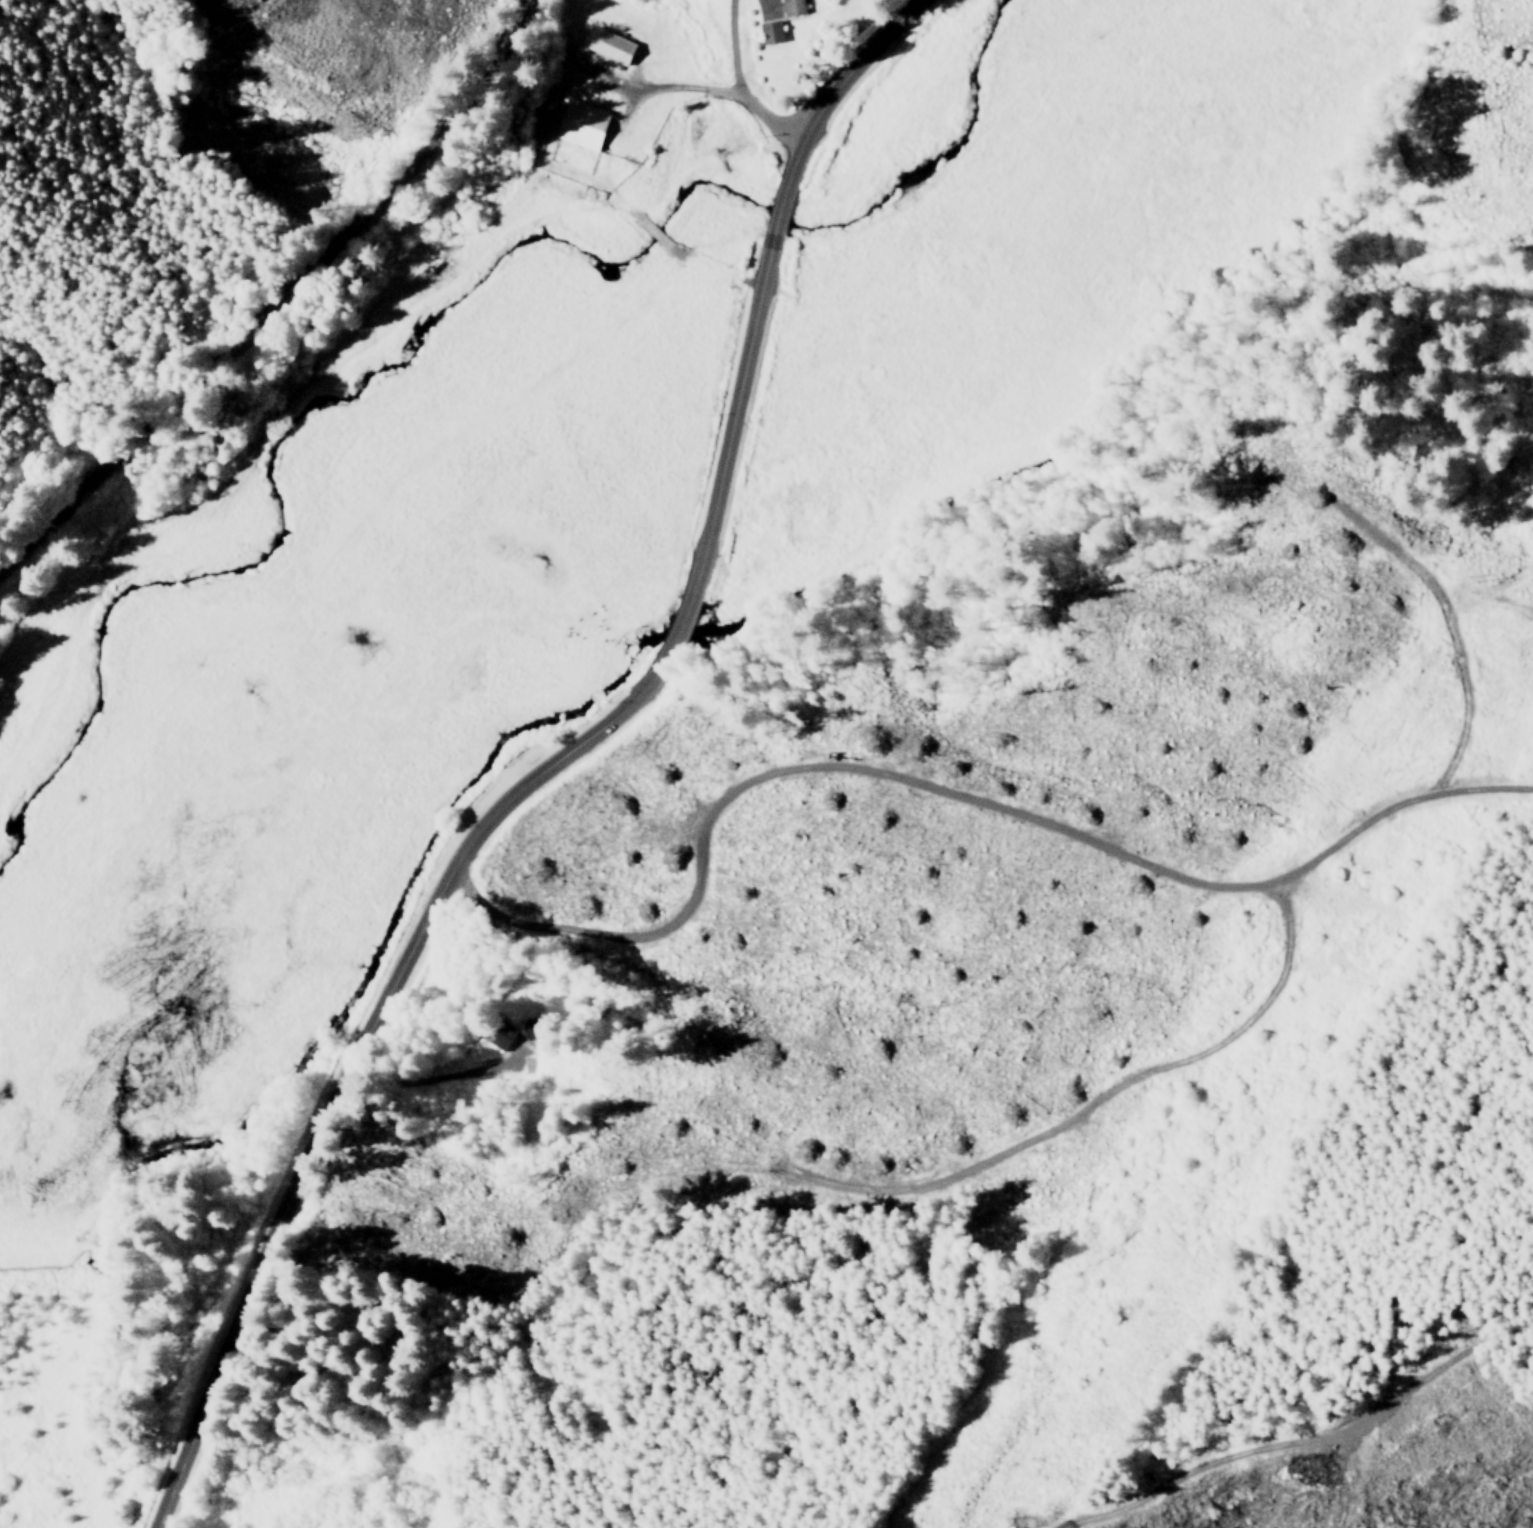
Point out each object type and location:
building: (792, 7)
building: (771, 31)
building: (612, 45)
building: (583, 123)
railway: (287, 317)
road: (564, 762)
road: (1087, 849)
building: (526, 1027)
building: (500, 1034)
power tower: (1010, 1521)

